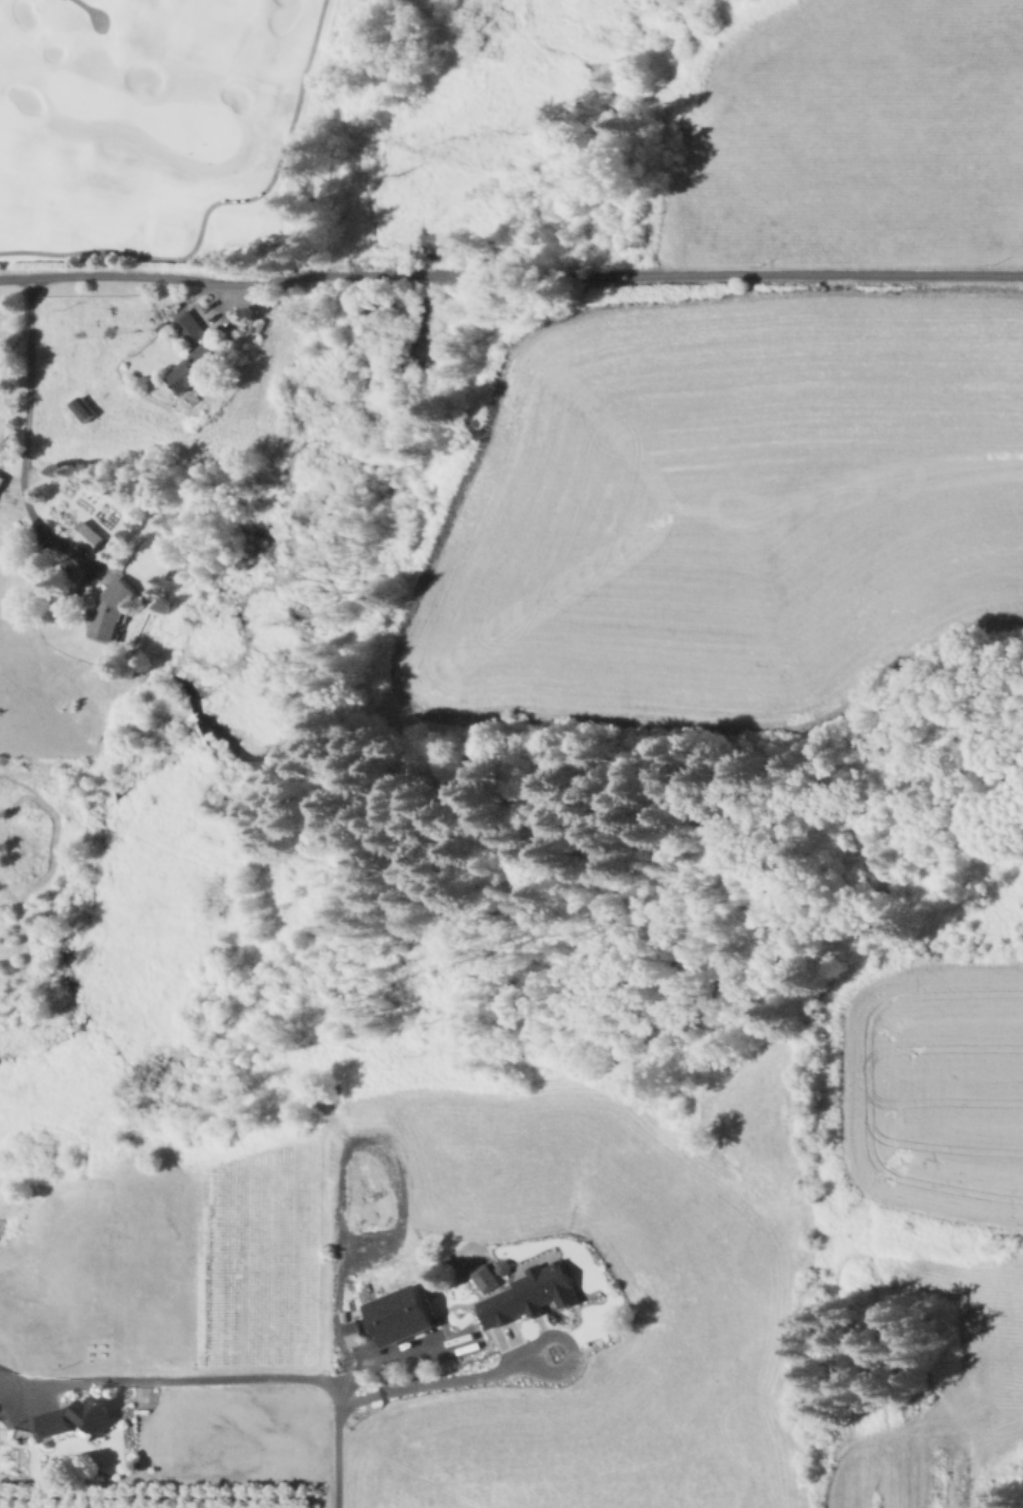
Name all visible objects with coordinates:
road: (89, 8)
park: (511, 133)
road: (214, 201)
road: (510, 275)
building: (159, 326)
building: (190, 328)
building: (196, 367)
building: (83, 409)
road: (25, 442)
building: (0, 476)
building: (2, 484)
crop: (716, 527)
building: (89, 535)
building: (113, 608)
crop: (937, 1087)
road: (342, 1162)
building: (449, 1261)
building: (503, 1266)
building: (488, 1279)
building: (531, 1296)
crop: (712, 1296)
building: (397, 1327)
road: (552, 1333)
building: (365, 1345)
road: (254, 1379)
road: (435, 1382)
building: (94, 1416)
building: (55, 1422)
road: (337, 1456)

